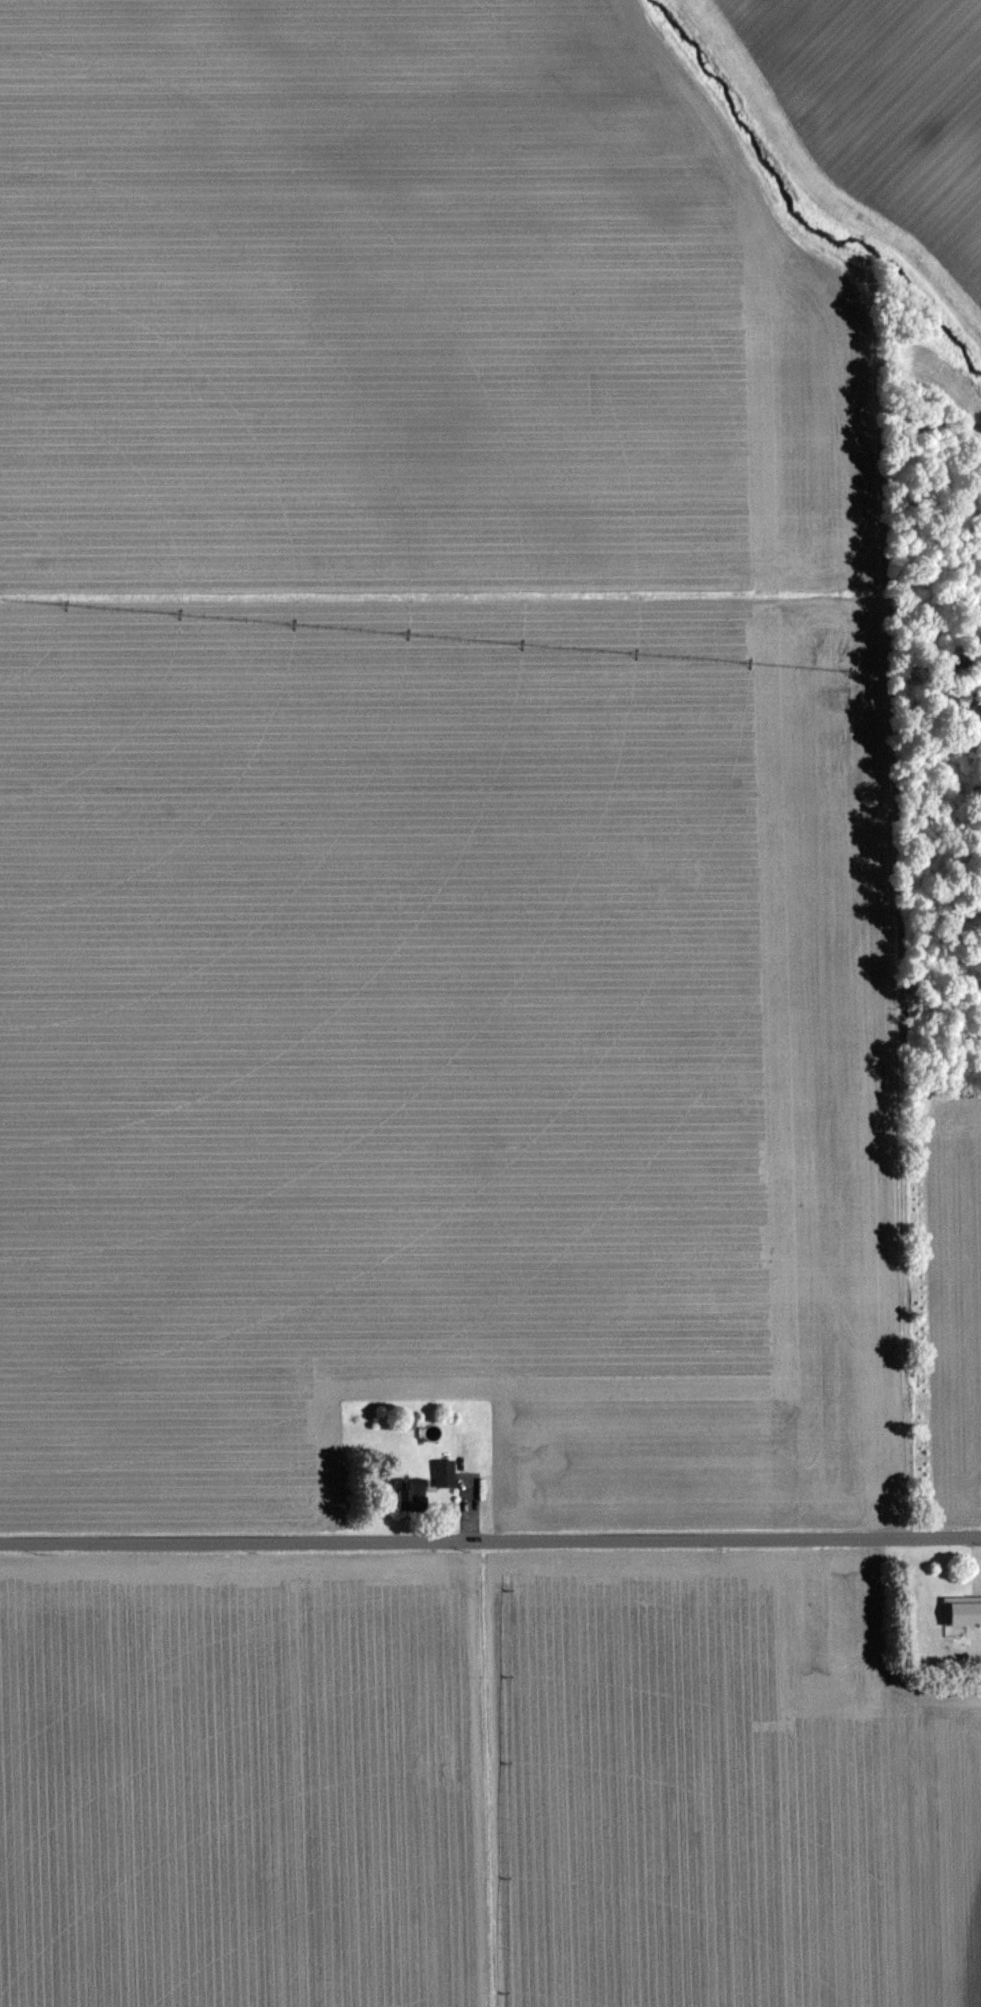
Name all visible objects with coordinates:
building: (447, 1472)
building: (414, 1493)
road: (490, 1533)
building: (964, 1610)

